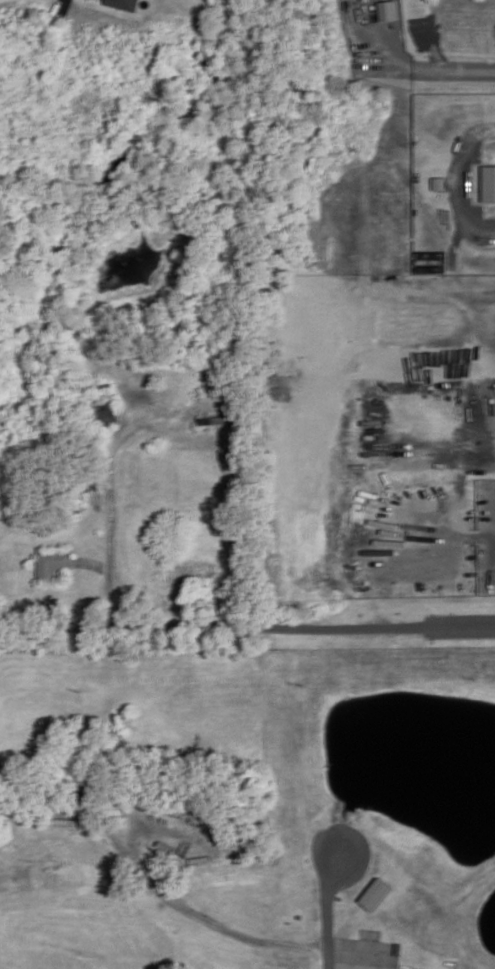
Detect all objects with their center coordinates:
building: (124, 4)
road: (59, 9)
building: (388, 10)
road: (427, 67)
building: (439, 183)
building: (489, 183)
building: (107, 413)
building: (53, 563)
road: (213, 623)
road: (461, 627)
building: (375, 893)

